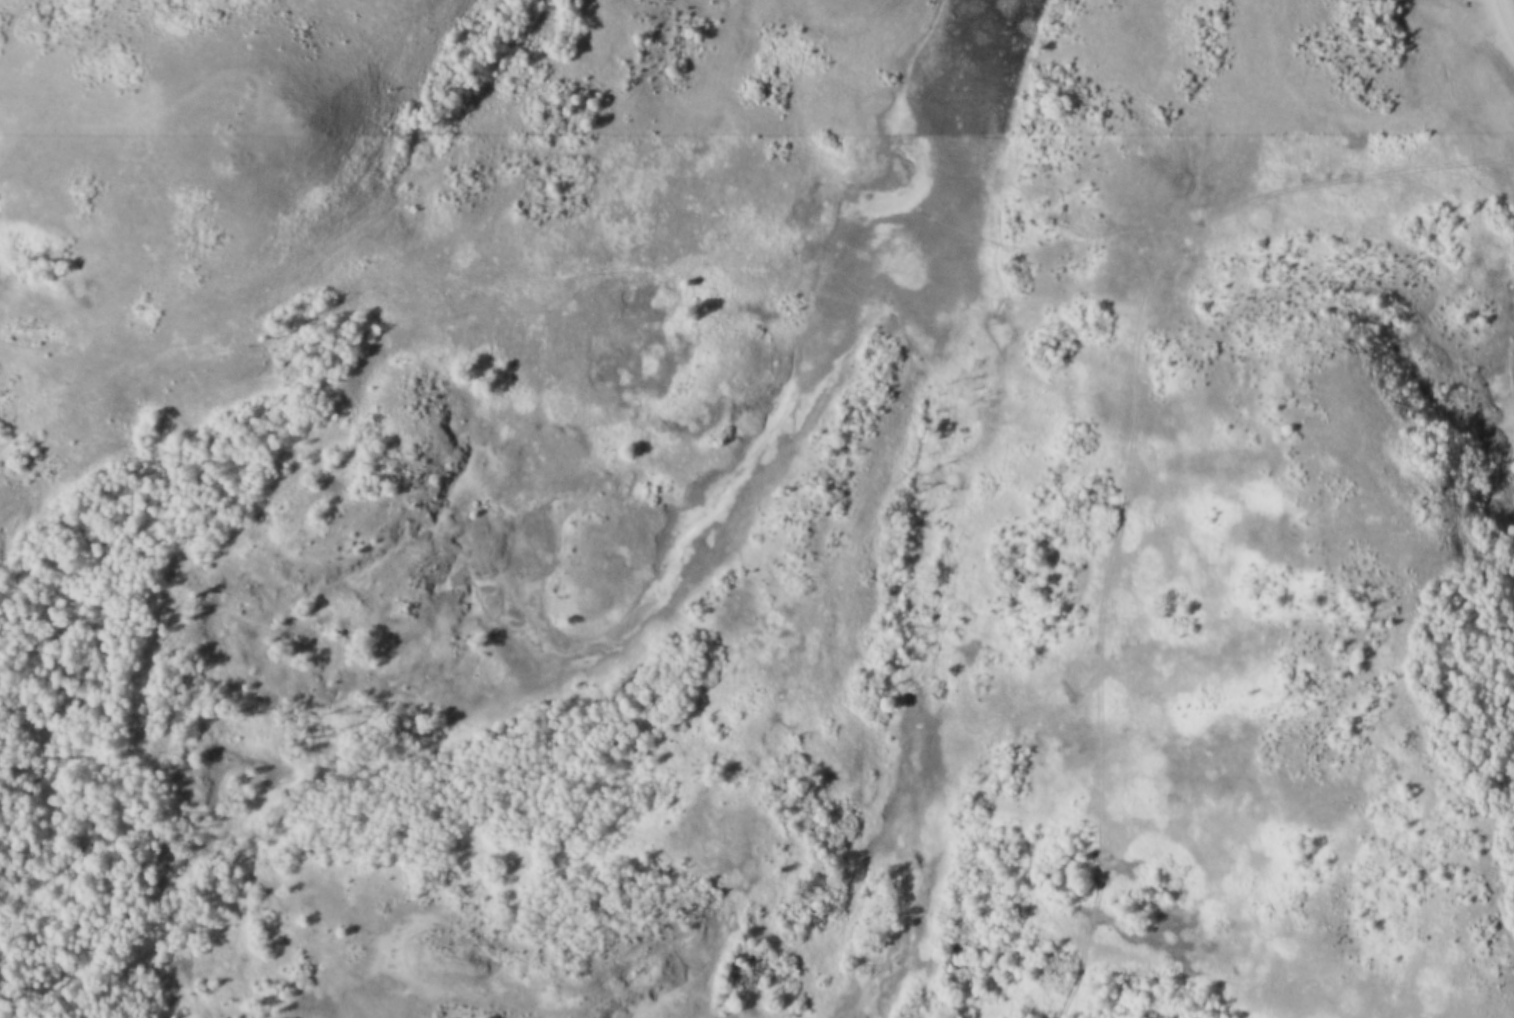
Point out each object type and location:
road: (1502, 24)

